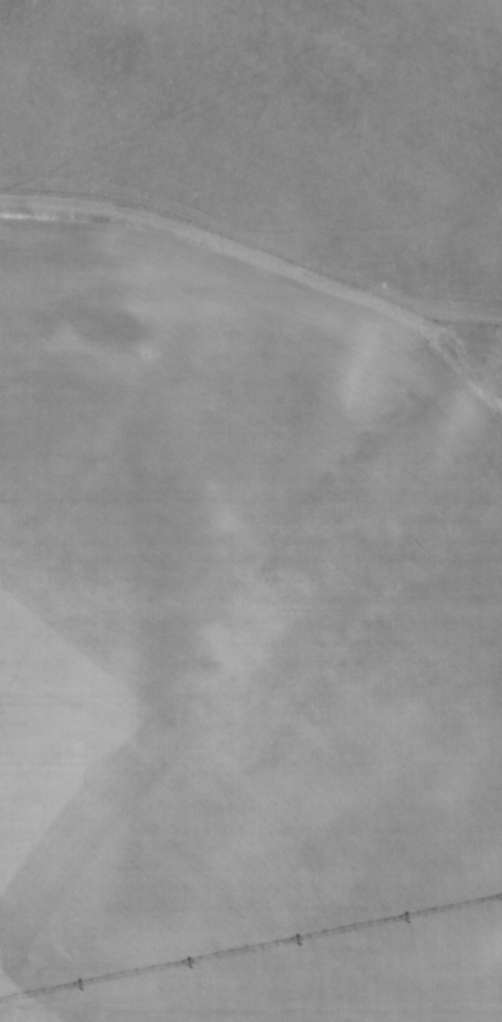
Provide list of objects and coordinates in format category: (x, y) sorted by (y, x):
crop: (239, 650)

